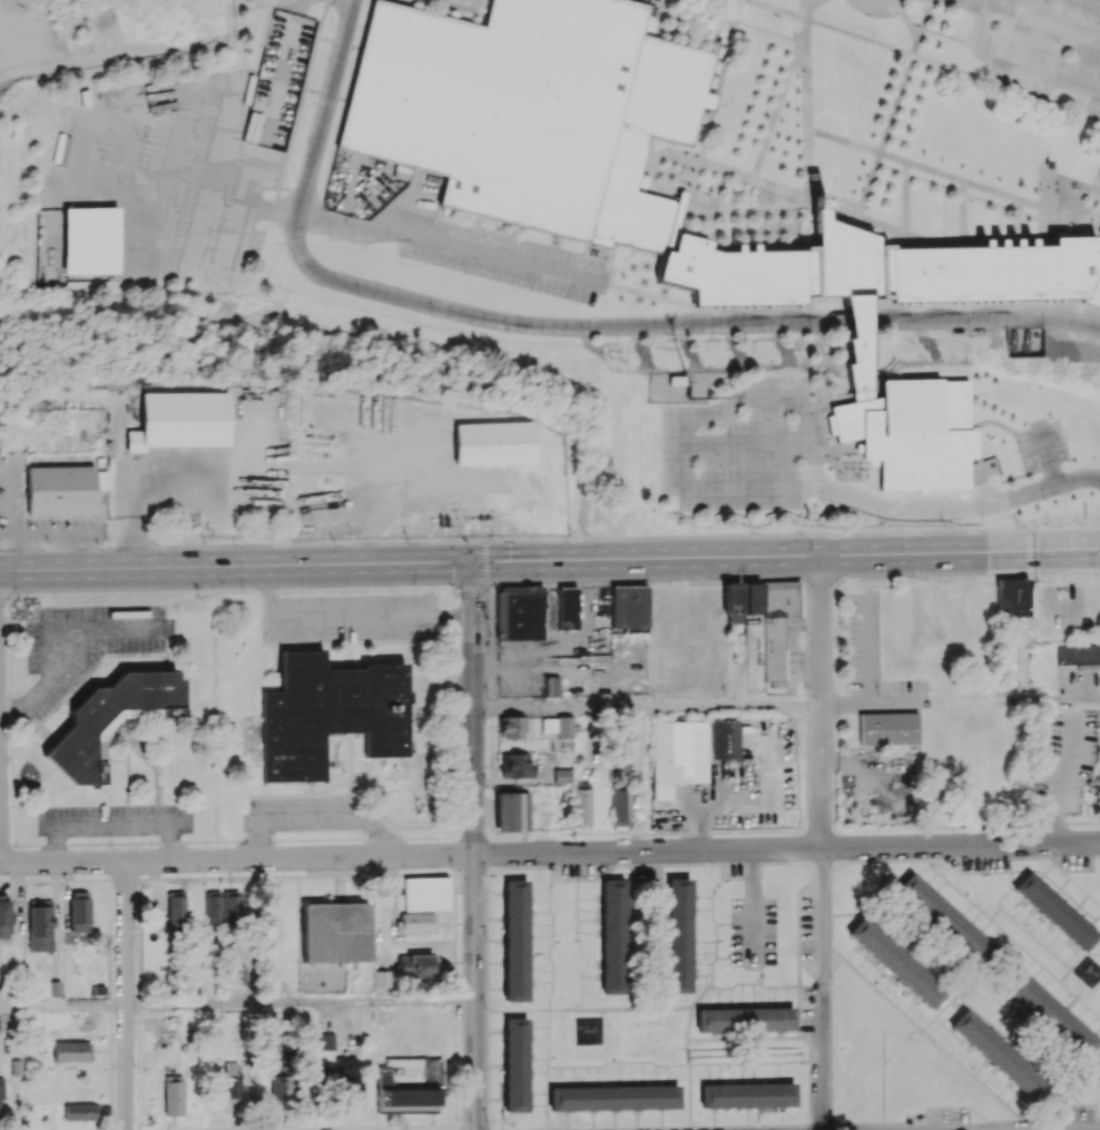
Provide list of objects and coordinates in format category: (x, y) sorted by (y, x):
road: (1037, 21)
road: (1015, 62)
road: (325, 105)
building: (532, 111)
parking lot: (186, 158)
building: (90, 239)
road: (452, 243)
building: (875, 268)
building: (1093, 281)
road: (464, 313)
road: (1050, 315)
road: (865, 317)
road: (708, 321)
building: (857, 345)
building: (180, 420)
road: (693, 421)
building: (911, 432)
building: (491, 442)
road: (747, 444)
road: (1048, 454)
road: (251, 464)
building: (60, 490)
road: (959, 505)
road: (923, 520)
road: (1064, 529)
road: (1029, 553)
traffic signals: (1029, 553)
road: (786, 558)
road: (236, 569)
building: (1012, 597)
building: (629, 606)
building: (567, 607)
building: (519, 612)
road: (347, 613)
building: (764, 616)
road: (868, 649)
building: (1079, 655)
building: (550, 686)
road: (866, 700)
road: (821, 702)
road: (647, 707)
building: (330, 714)
building: (108, 720)
building: (511, 726)
building: (558, 726)
building: (887, 727)
building: (720, 739)
building: (676, 755)
building: (619, 764)
building: (515, 765)
building: (561, 775)
road: (1061, 778)
building: (582, 806)
building: (620, 806)
building: (512, 810)
road: (316, 816)
road: (960, 845)
road: (473, 846)
road: (411, 855)
building: (422, 903)
building: (223, 906)
building: (175, 910)
building: (78, 911)
building: (1055, 911)
building: (3, 916)
building: (943, 918)
building: (39, 925)
building: (335, 931)
building: (678, 935)
building: (613, 936)
building: (514, 940)
building: (895, 962)
building: (416, 965)
road: (825, 989)
road: (125, 994)
road: (299, 1003)
road: (62, 1006)
building: (1048, 1013)
building: (745, 1019)
building: (325, 1041)
building: (71, 1051)
building: (998, 1054)
building: (514, 1064)
building: (320, 1067)
building: (347, 1080)
building: (230, 1081)
building: (281, 1082)
building: (409, 1084)
building: (173, 1094)
building: (746, 1094)
building: (613, 1098)
building: (1, 1099)
building: (80, 1111)

